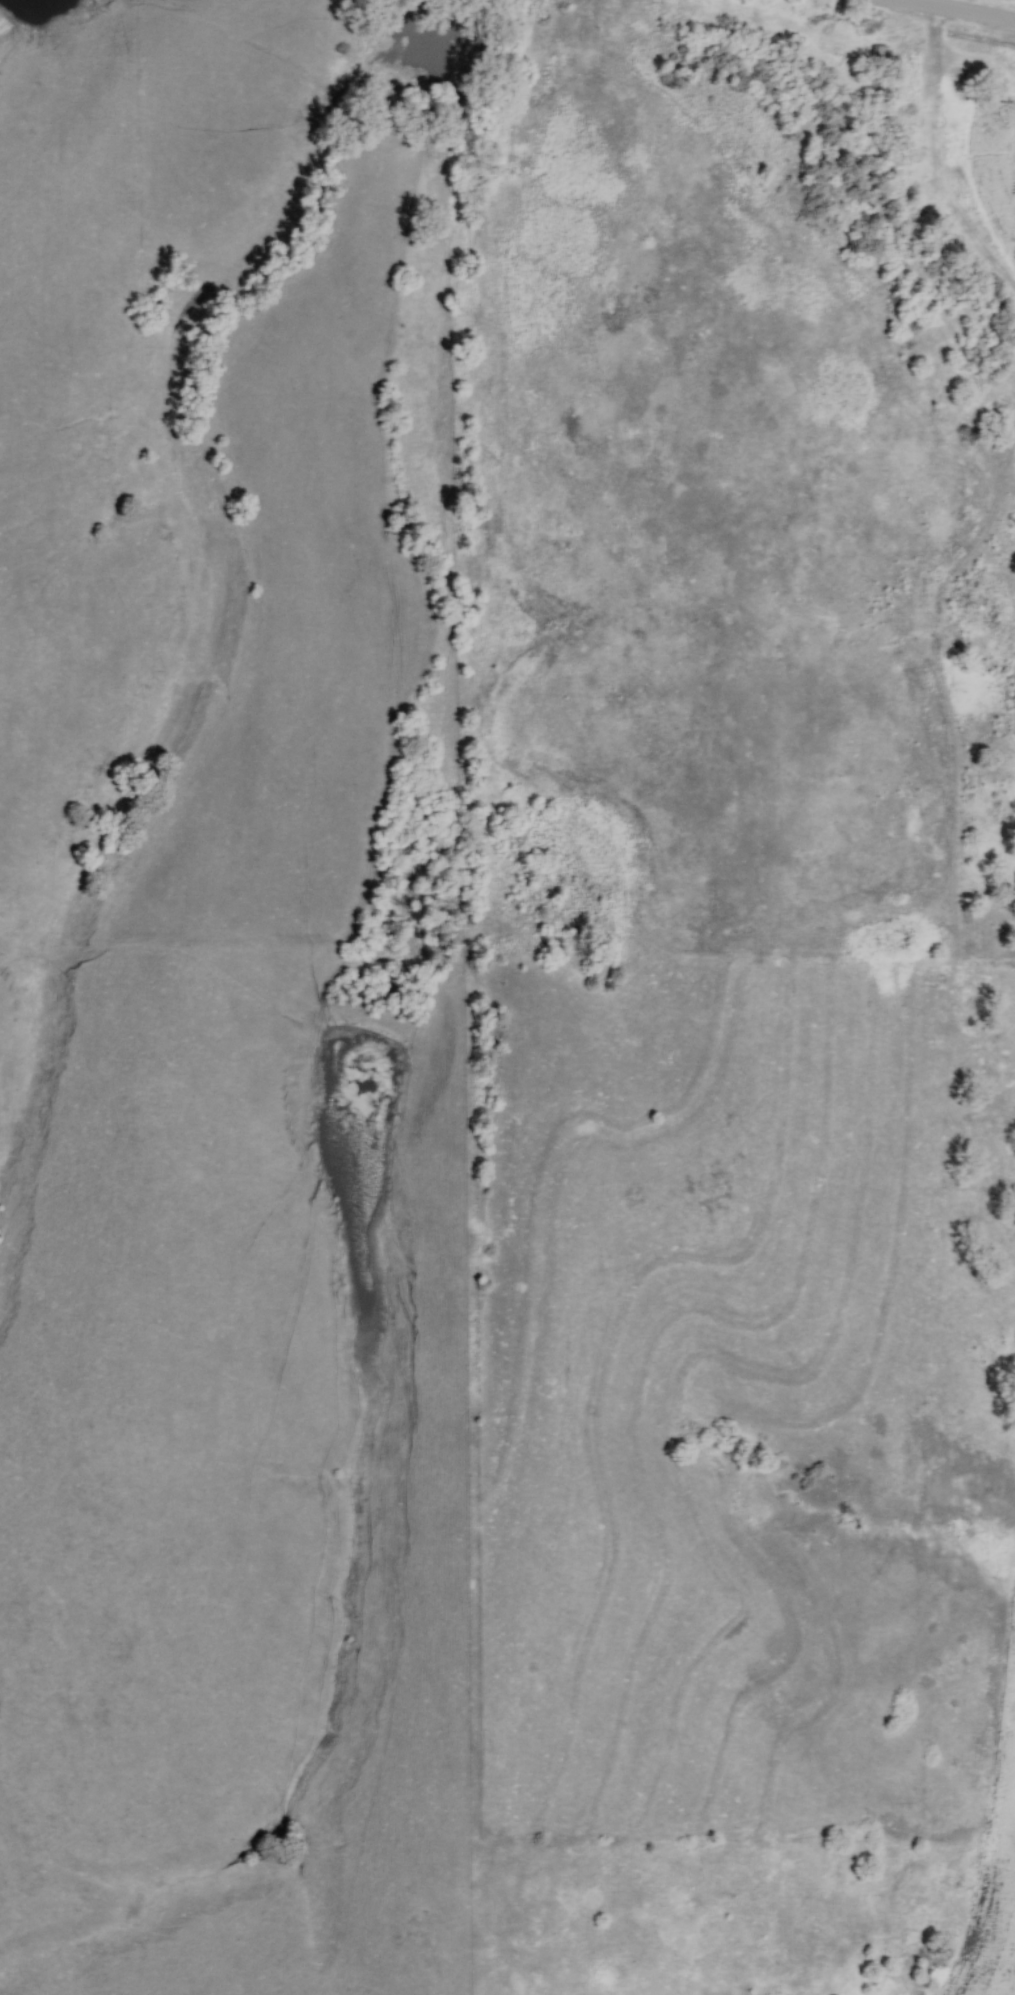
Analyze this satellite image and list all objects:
road: (954, 12)

